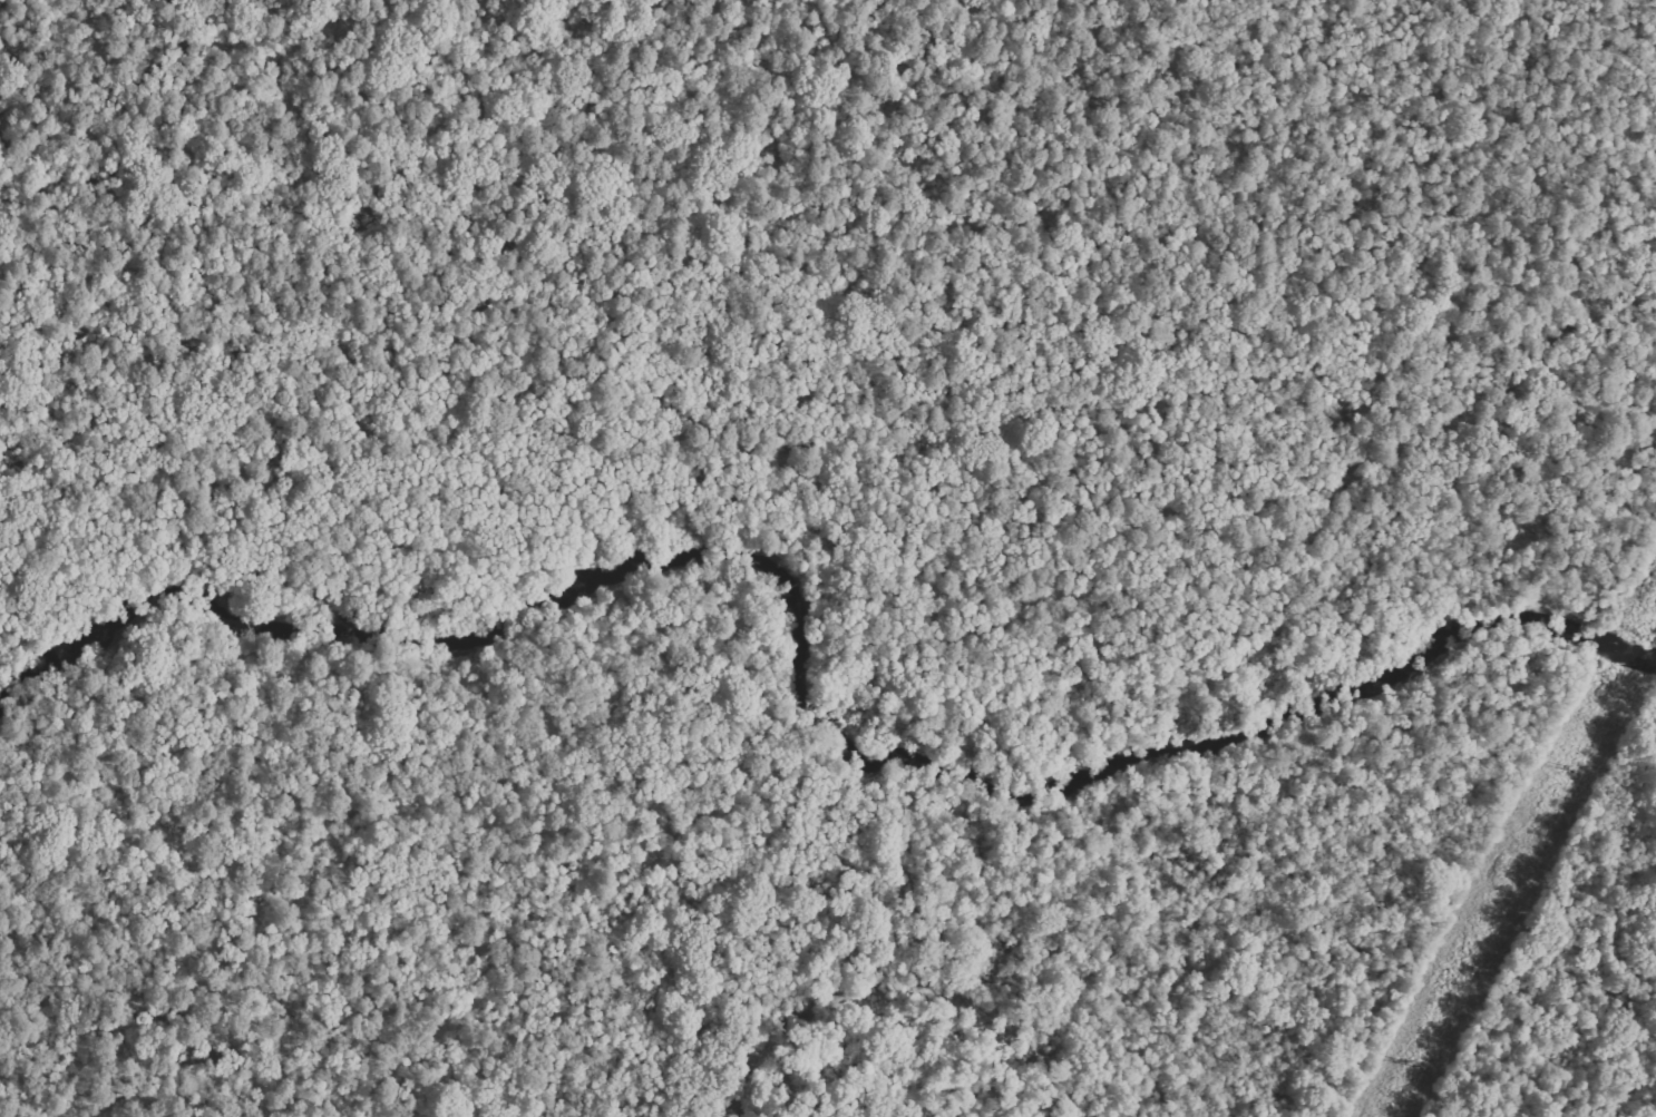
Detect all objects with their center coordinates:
power tower: (1569, 768)
river: (900, 1003)
power tower: (1410, 1062)

